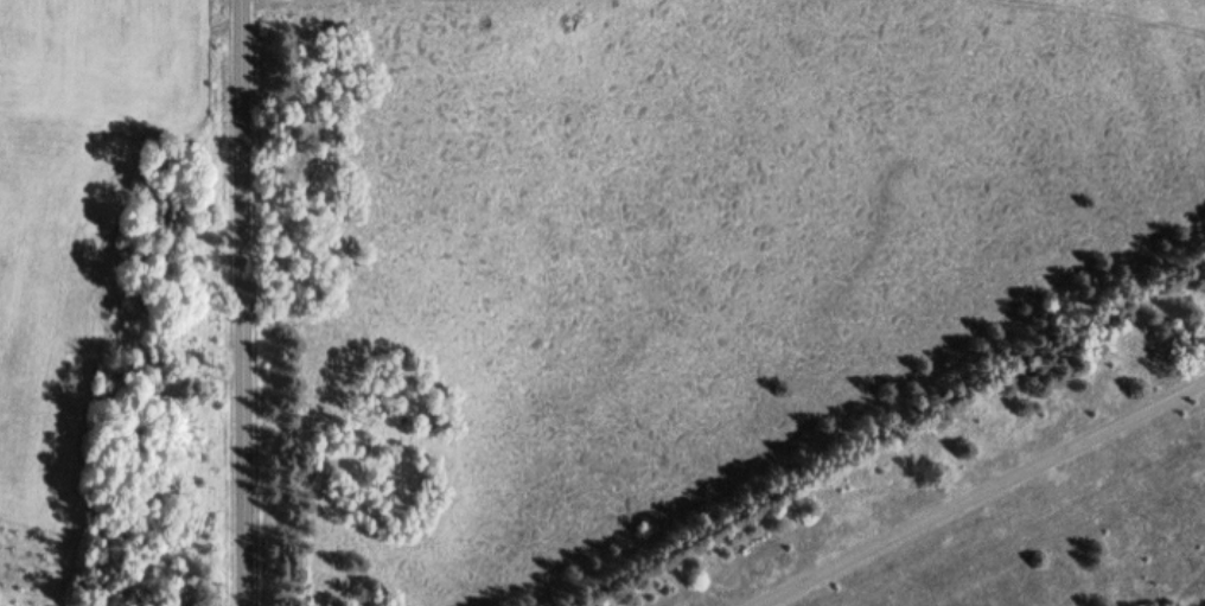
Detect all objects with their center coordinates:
road: (243, 302)
road: (981, 492)

